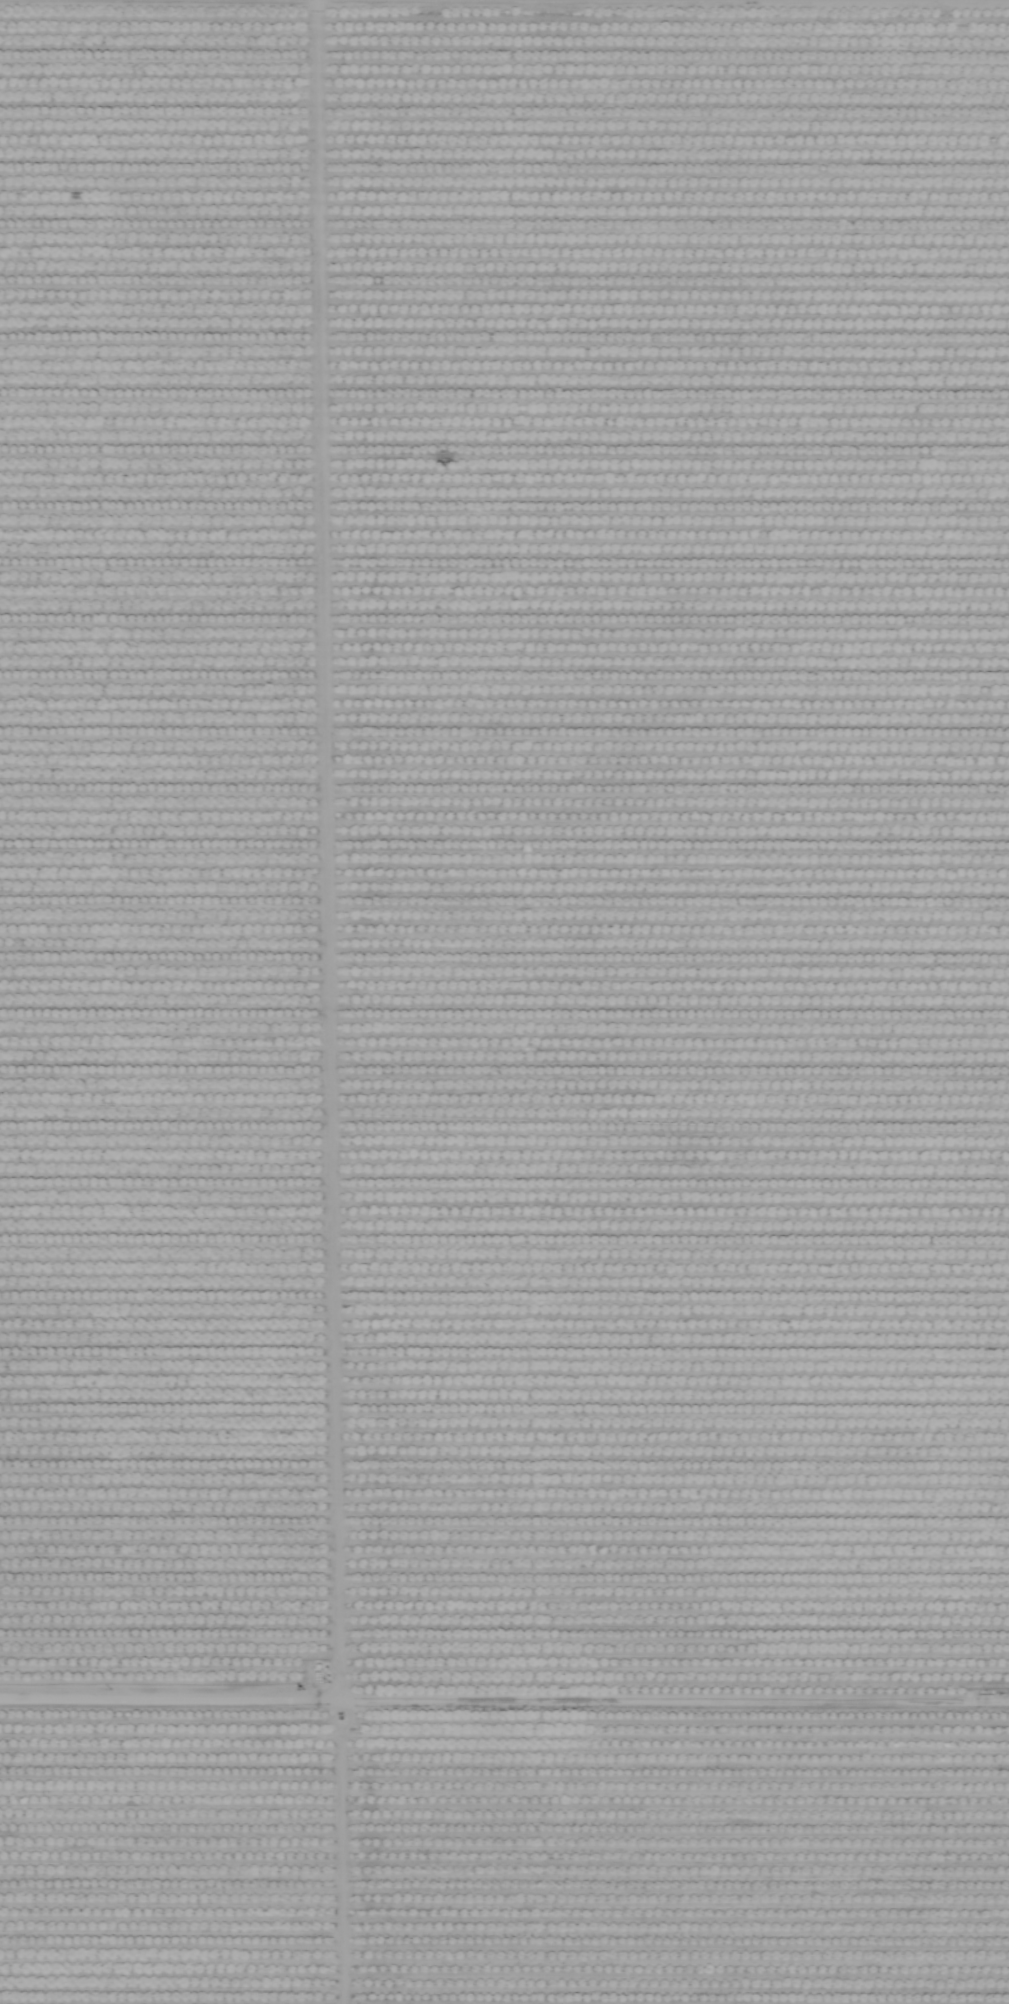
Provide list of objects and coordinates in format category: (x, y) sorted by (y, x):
road: (504, 863)
road: (338, 1433)
road: (504, 1713)

